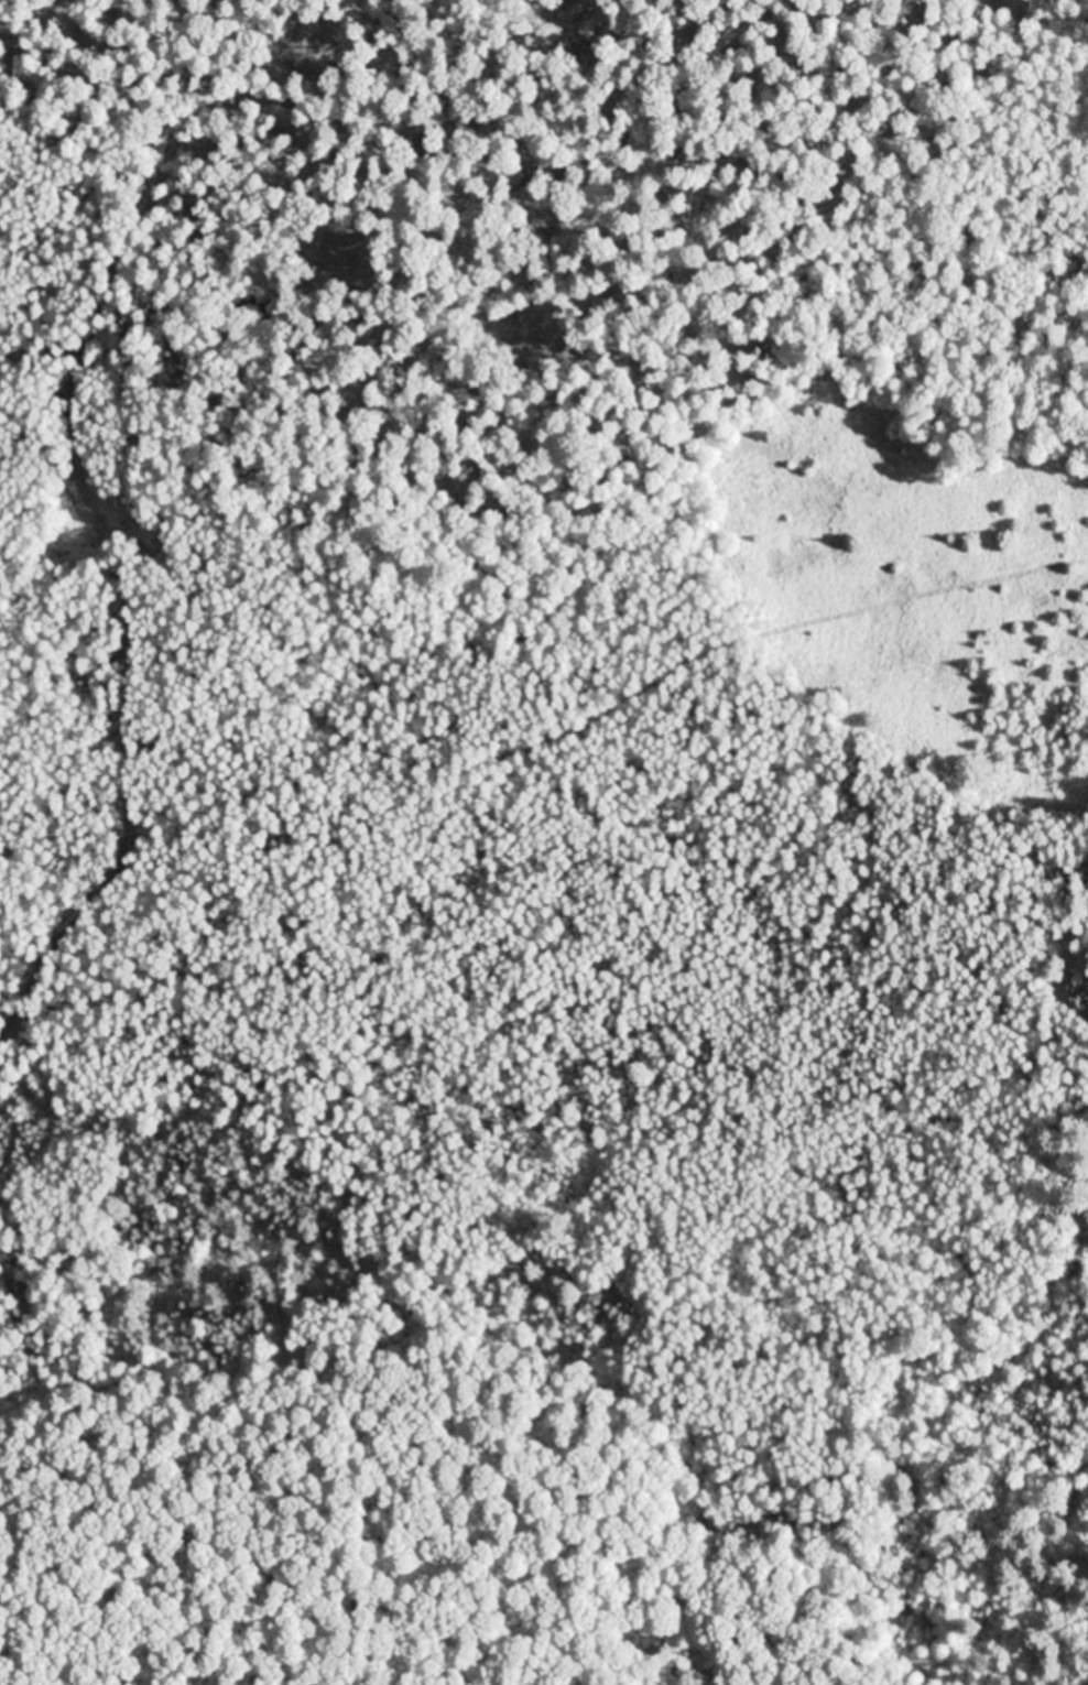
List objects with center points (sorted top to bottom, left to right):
road: (122, 269)

